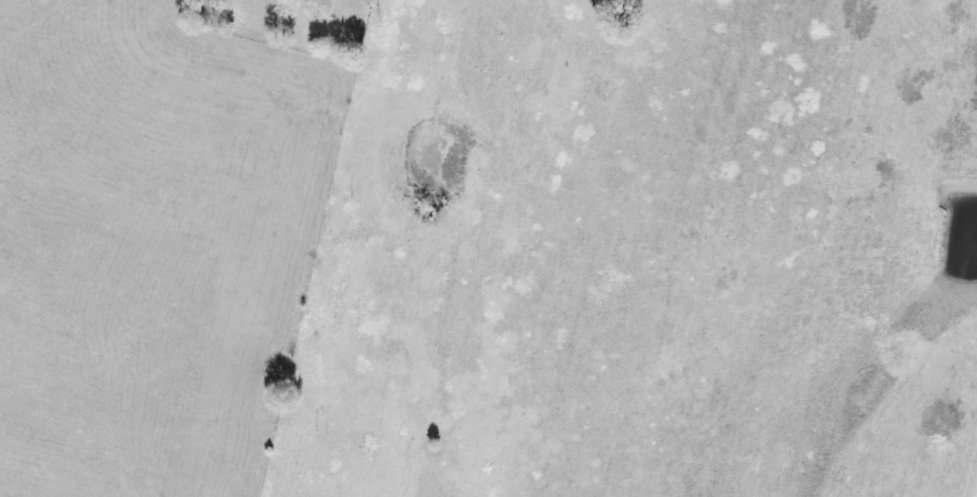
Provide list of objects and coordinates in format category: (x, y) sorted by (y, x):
road: (34, 22)

